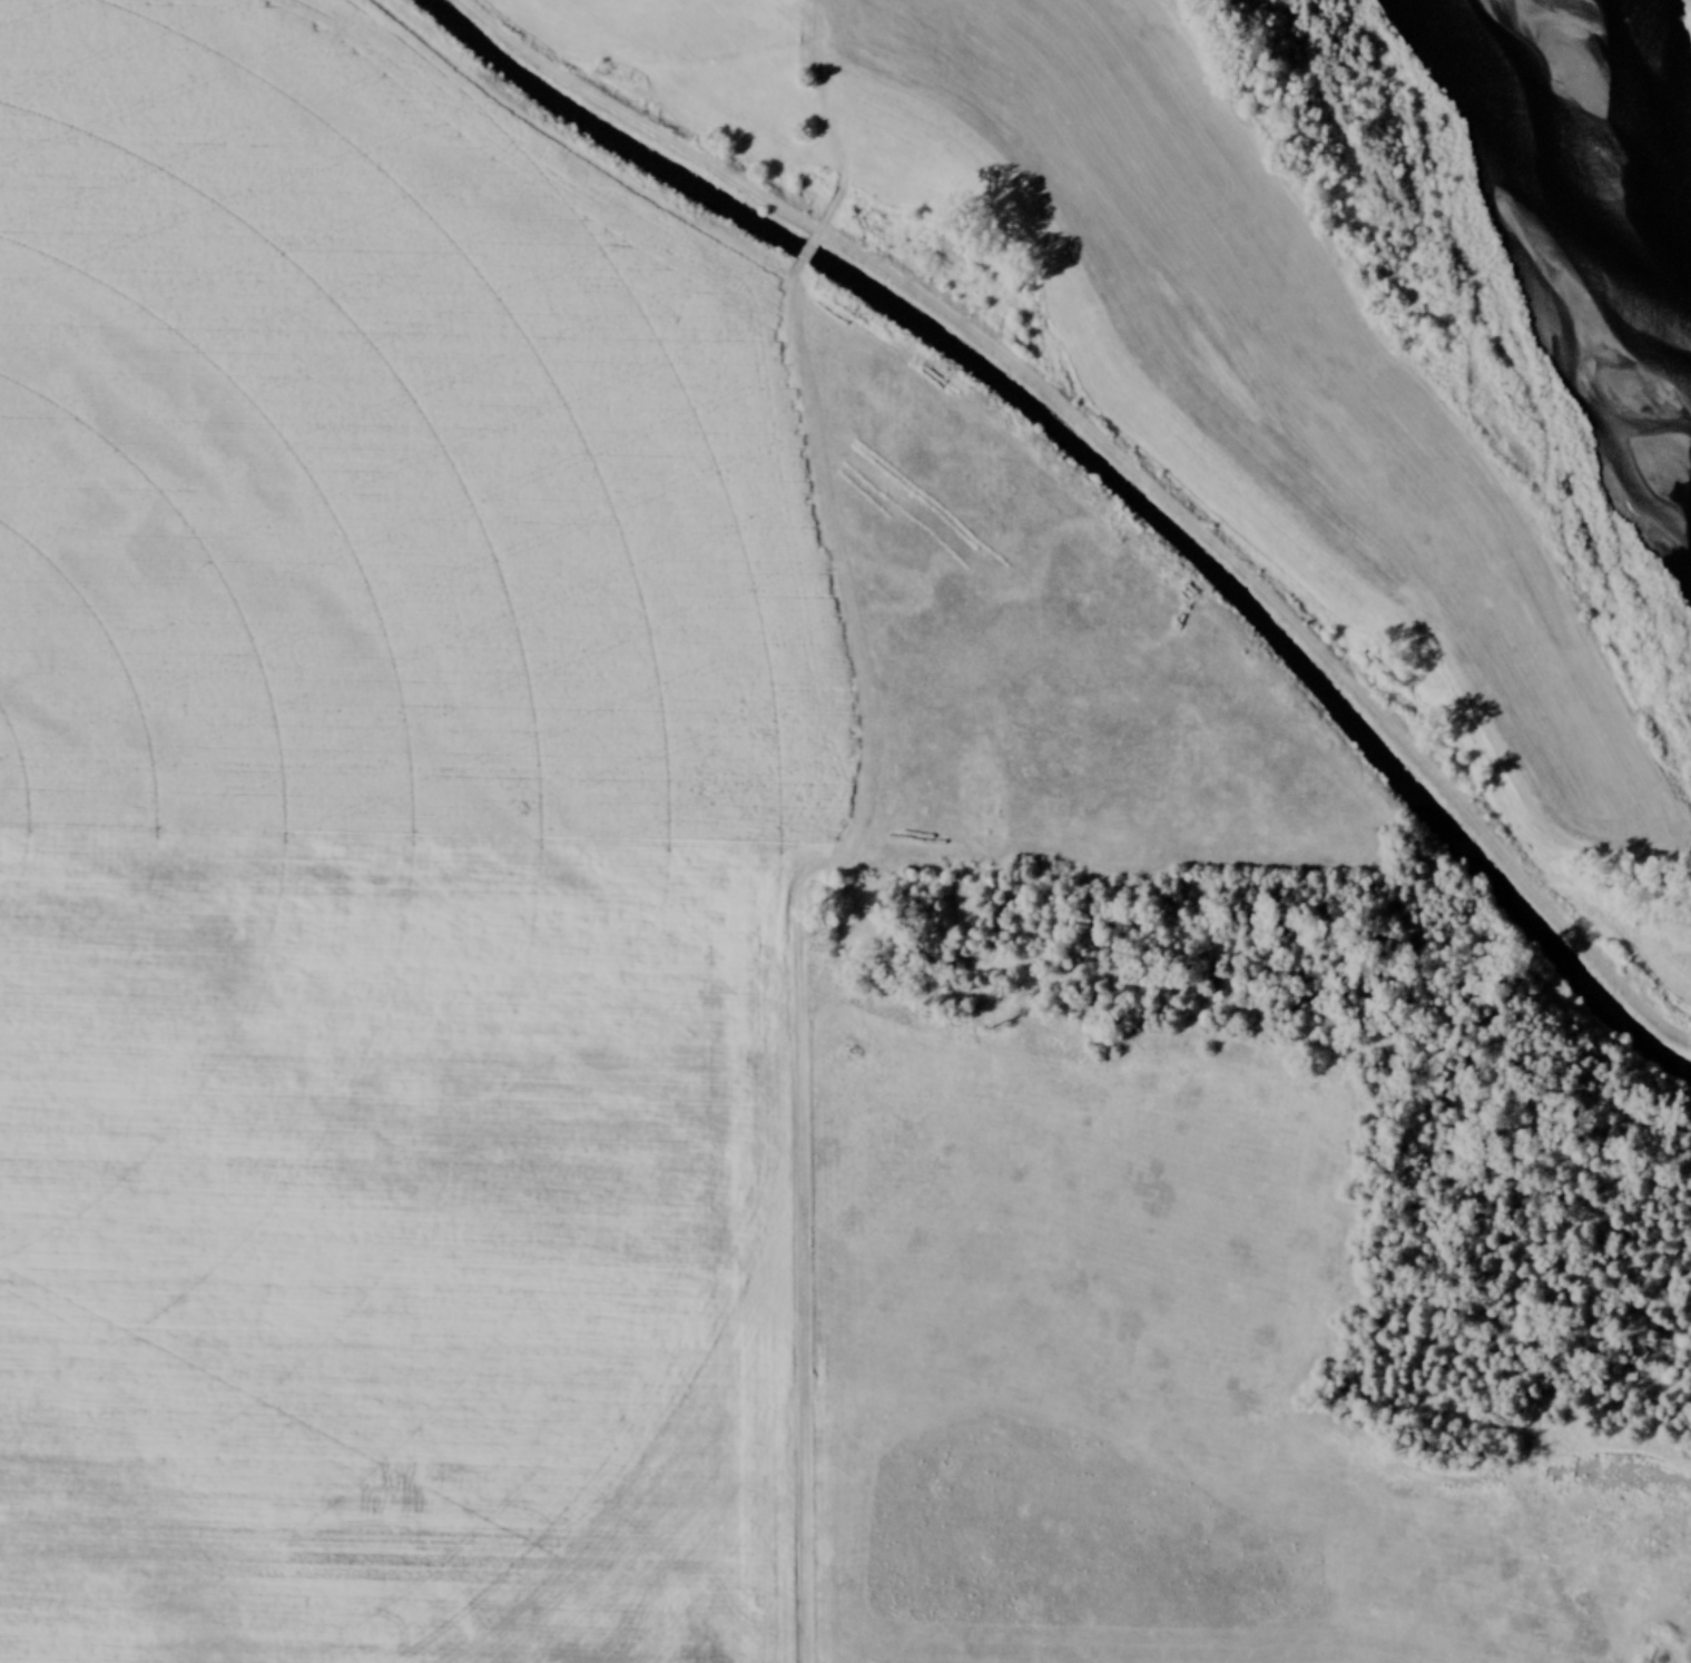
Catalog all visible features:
river: (1586, 211)
building: (808, 250)

